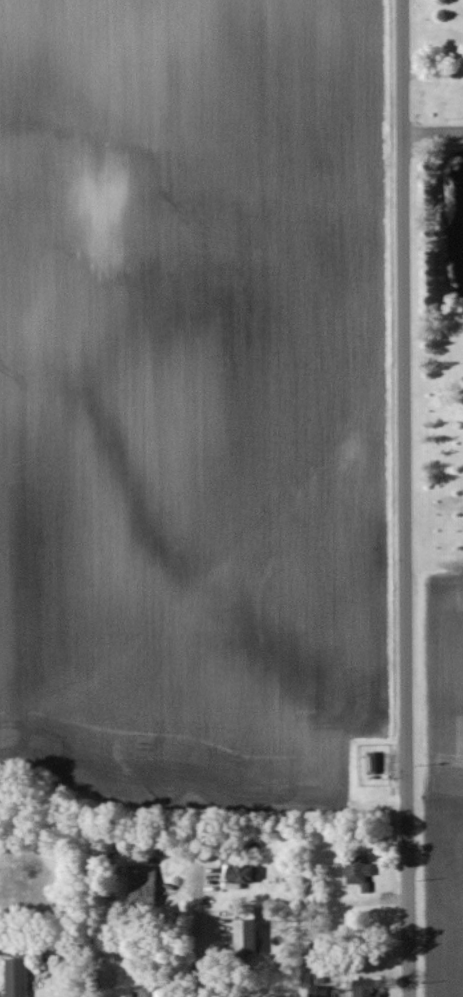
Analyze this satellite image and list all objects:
road: (431, 131)
road: (401, 405)
building: (359, 873)
road: (404, 904)
building: (253, 929)
road: (195, 933)
building: (19, 978)
building: (373, 989)

